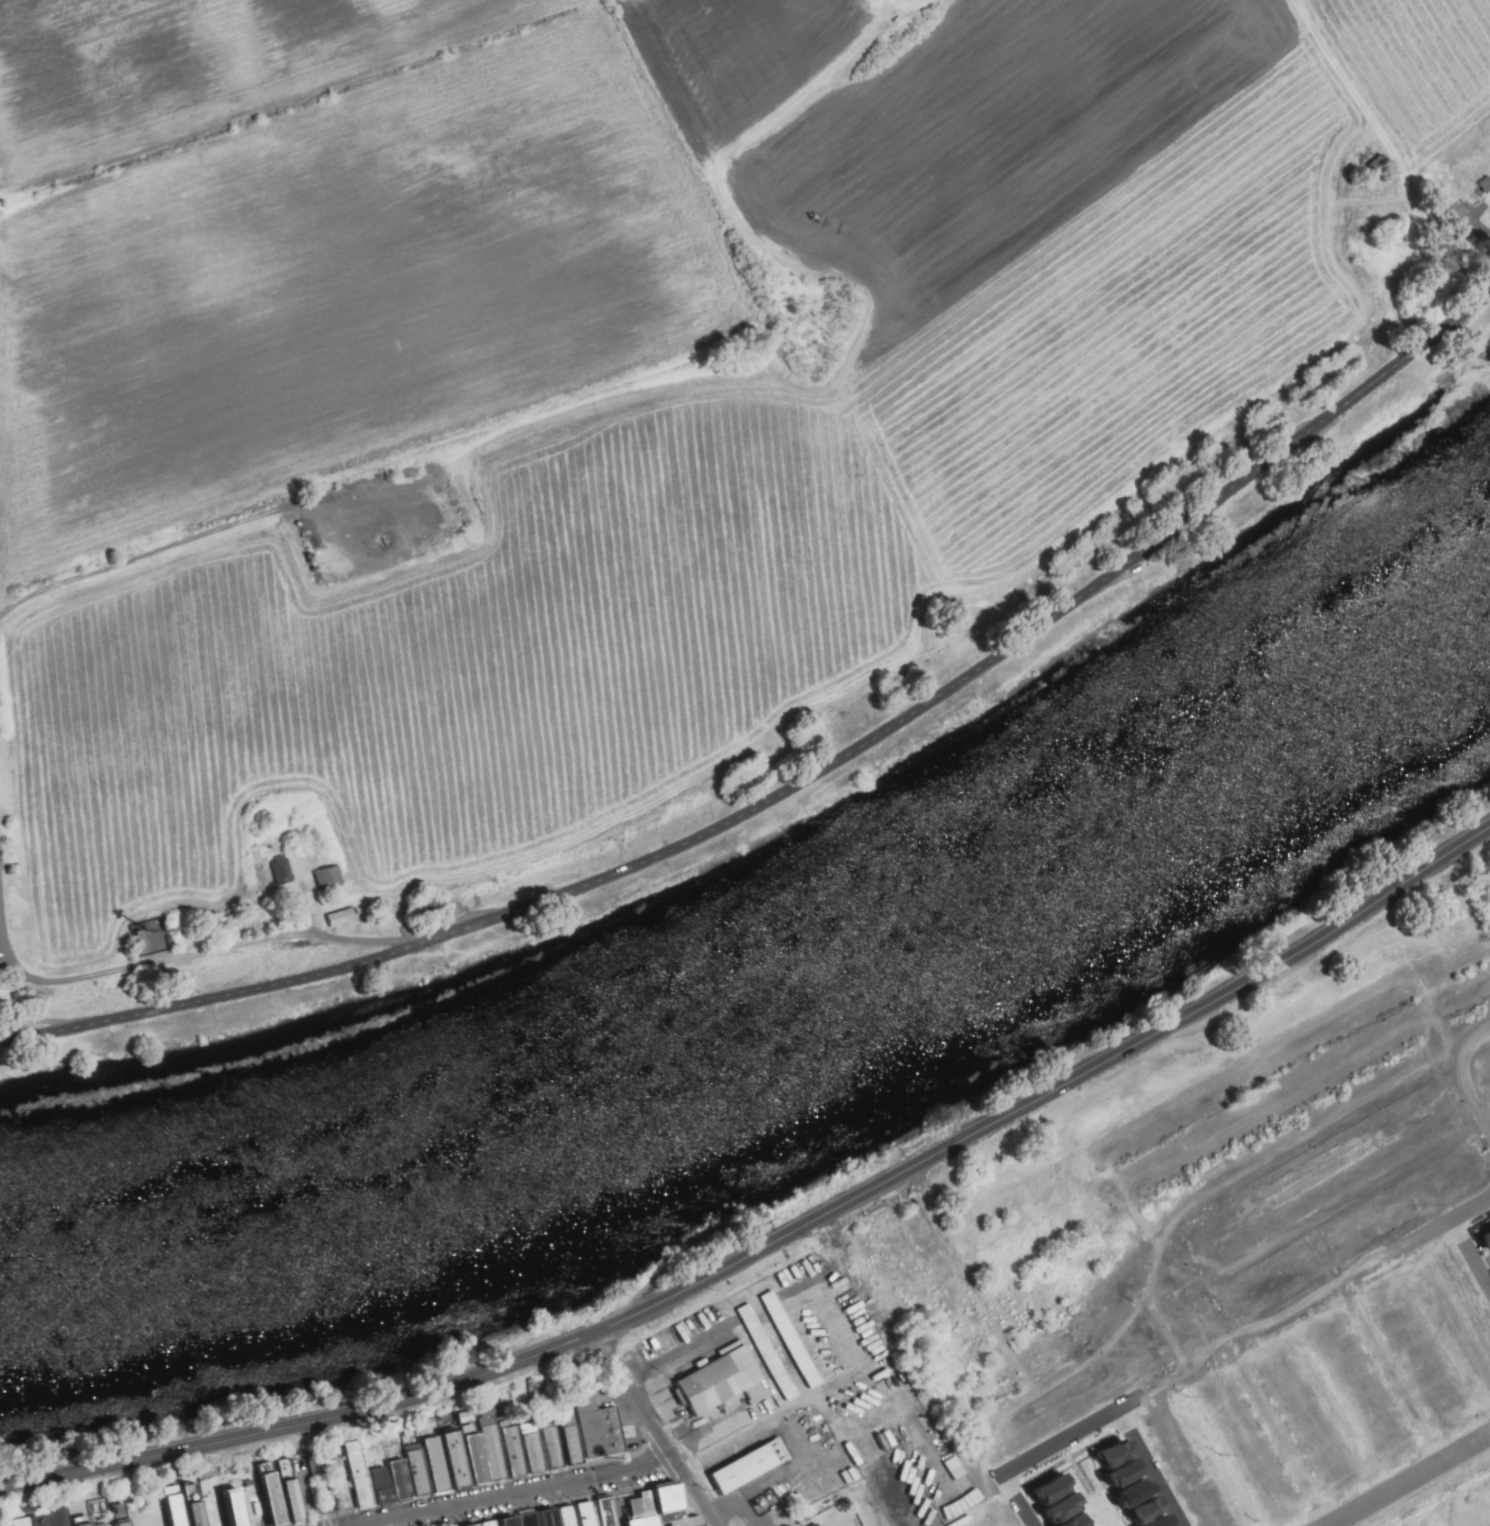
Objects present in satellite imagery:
crop: (629, 403)
road: (144, 557)
road: (801, 784)
building: (281, 871)
building: (328, 878)
building: (342, 917)
road: (200, 955)
road: (1372, 993)
river: (791, 1002)
road: (1459, 1075)
road: (1303, 1136)
road: (778, 1239)
building: (1486, 1239)
road: (1415, 1240)
road: (1471, 1252)
road: (1178, 1255)
road: (1224, 1273)
building: (1488, 1276)
road: (1311, 1299)
road: (1214, 1317)
road: (1256, 1331)
road: (1443, 1333)
building: (796, 1340)
building: (772, 1352)
road: (1204, 1361)
road: (1393, 1373)
building: (721, 1380)
road: (1159, 1387)
road: (1332, 1408)
building: (601, 1428)
road: (654, 1430)
road: (1070, 1436)
road: (1280, 1436)
road: (723, 1441)
building: (575, 1444)
road: (982, 1445)
building: (556, 1446)
building: (518, 1450)
building: (536, 1451)
road: (1218, 1451)
building: (498, 1452)
building: (1115, 1452)
building: (479, 1457)
building: (460, 1458)
building: (441, 1463)
building: (314, 1465)
building: (748, 1468)
building: (954, 1468)
road: (1152, 1468)
building: (423, 1471)
building: (1125, 1471)
building: (363, 1473)
building: (404, 1478)
road: (1088, 1482)
road: (1412, 1482)
building: (385, 1484)
building: (1053, 1488)
road: (311, 1491)
building: (1136, 1491)
road: (523, 1495)
crop: (1441, 1496)
building: (275, 1497)
building: (295, 1497)
road: (1014, 1500)
park: (341, 1501)
building: (198, 1503)
building: (673, 1503)
park: (150, 1504)
building: (646, 1504)
building: (178, 1506)
building: (238, 1507)
building: (1063, 1507)
building: (1147, 1510)
building: (119, 1512)
building: (608, 1512)
building: (590, 1514)
building: (44, 1515)
building: (66, 1516)
building: (572, 1516)
park: (263, 1517)
building: (552, 1517)
park: (254, 1518)
road: (450, 1518)
building: (533, 1519)
building: (646, 1520)
building: (1078, 1520)
building: (26, 1521)
building: (88, 1521)
building: (124, 1521)
building: (514, 1521)
building: (1160, 1521)
building: (691, 1522)
building: (105, 1524)
building: (816, 1524)
building: (480, 1525)
building: (820, 1525)

